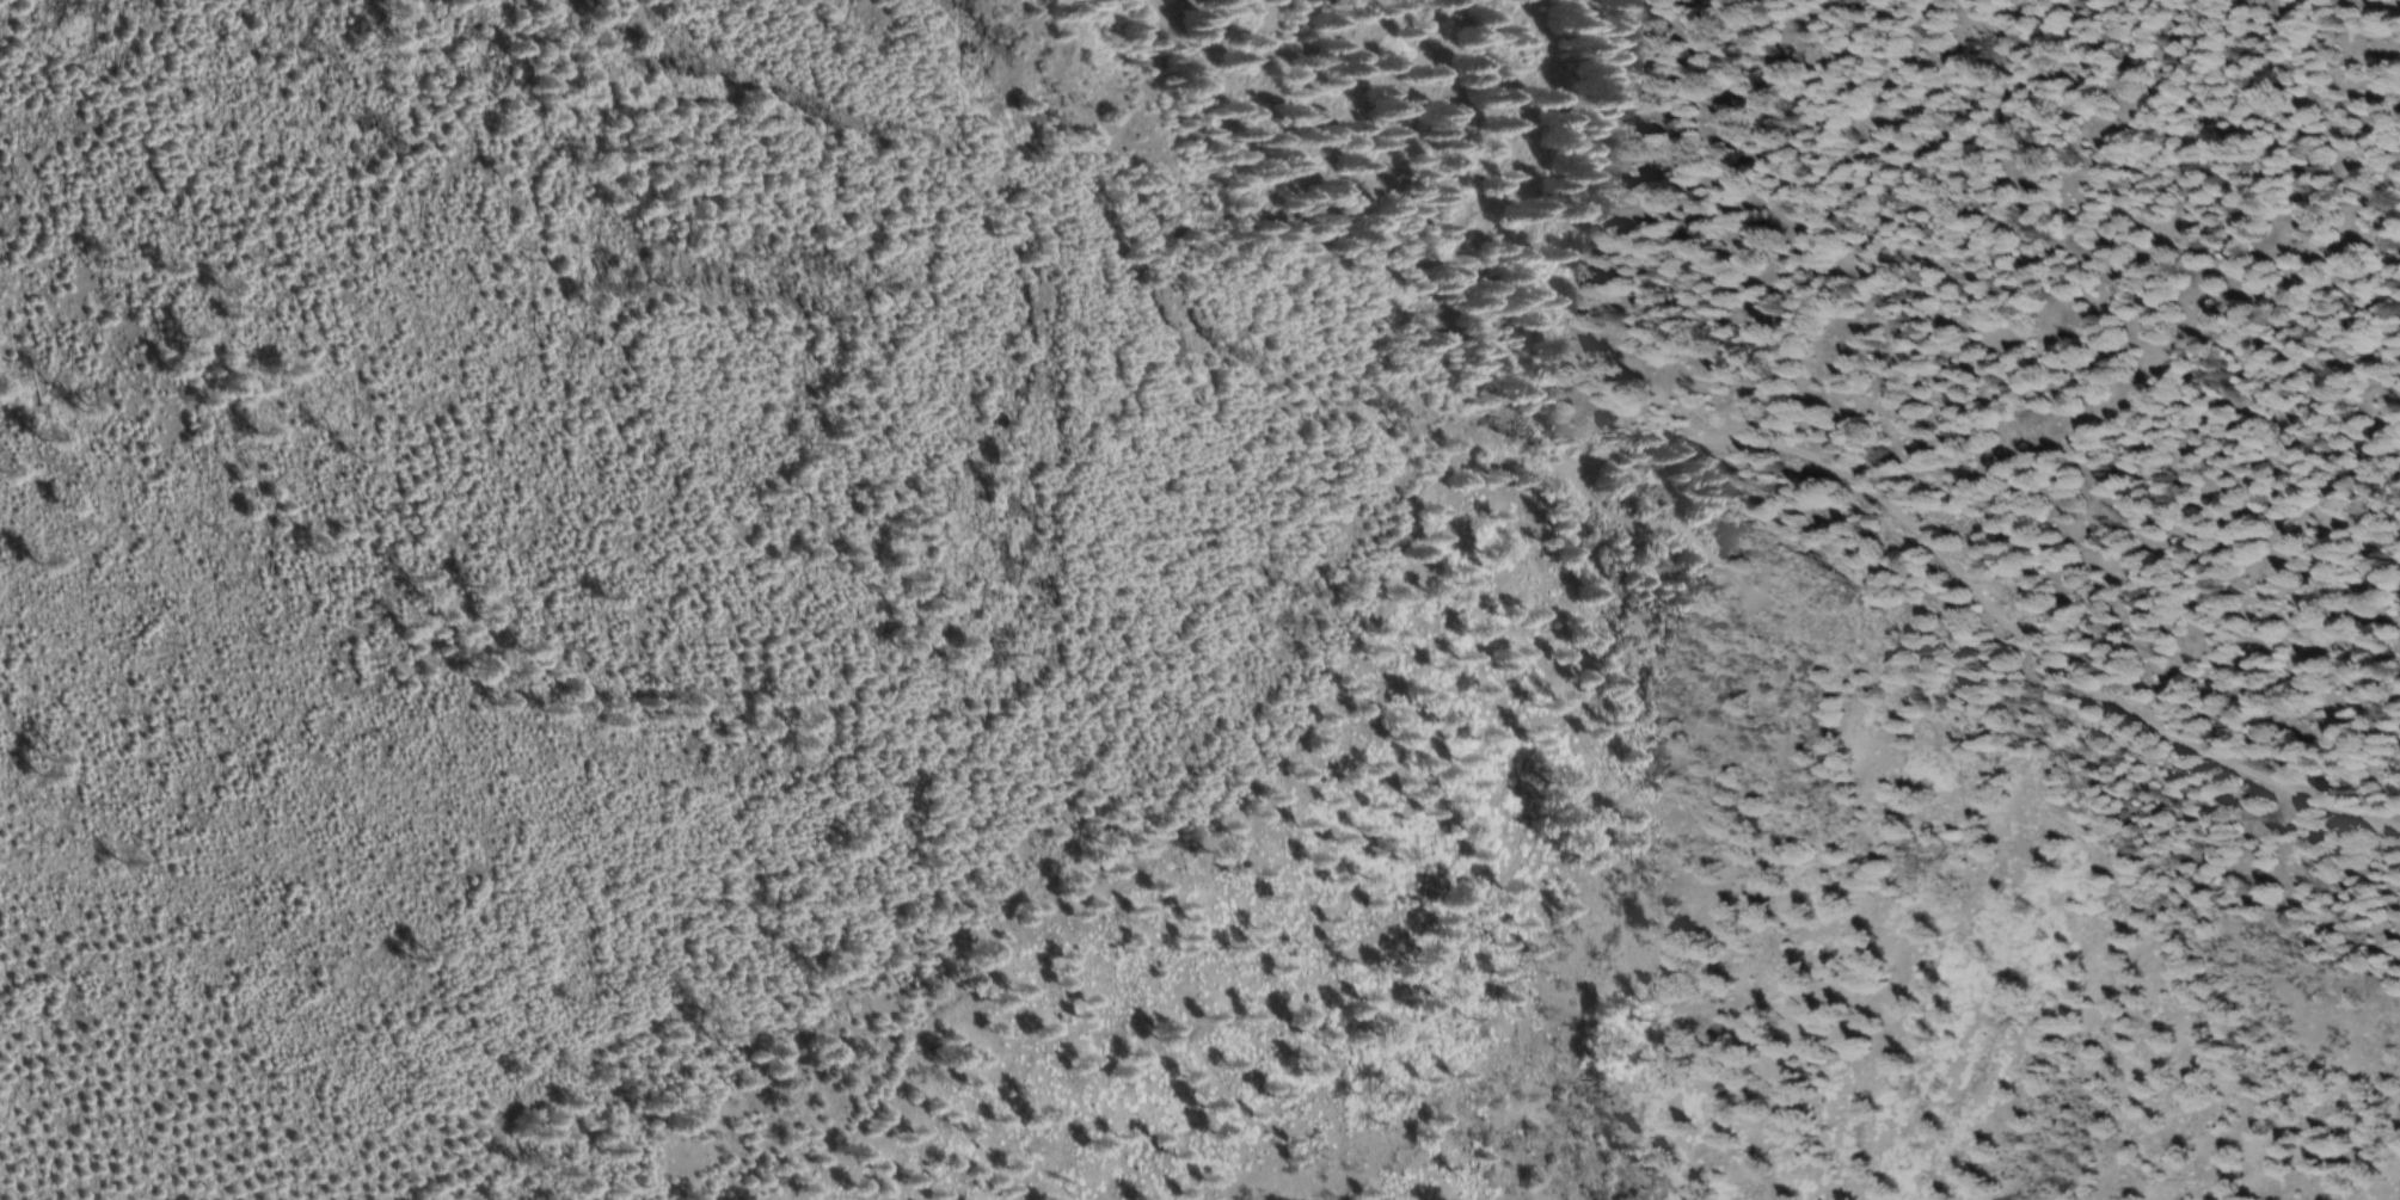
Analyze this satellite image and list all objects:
road: (1999, 589)

